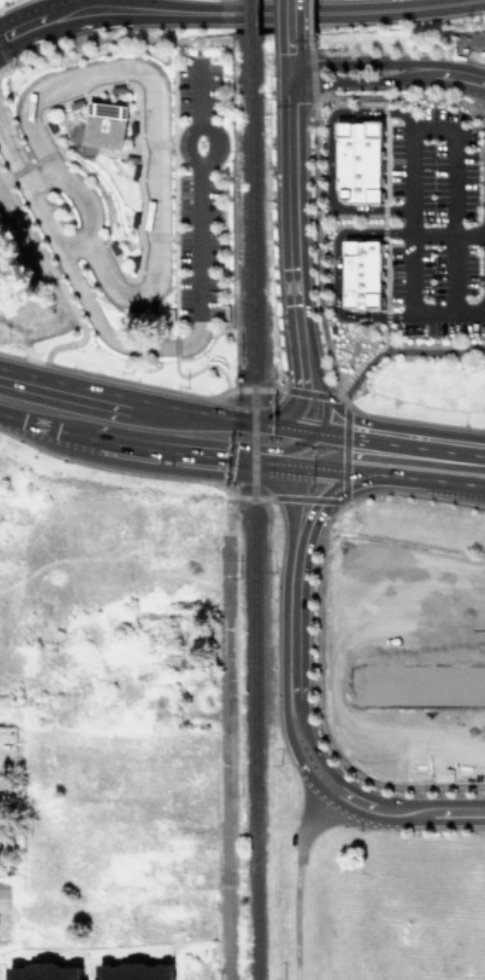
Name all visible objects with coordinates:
road: (291, 13)
railway: (250, 17)
road: (292, 17)
road: (48, 26)
road: (292, 54)
road: (359, 64)
traffic signals: (293, 73)
road: (456, 75)
road: (360, 81)
road: (200, 92)
road: (157, 120)
building: (105, 123)
road: (216, 142)
road: (456, 146)
road: (97, 148)
road: (329, 154)
road: (12, 159)
building: (359, 160)
road: (30, 162)
road: (38, 178)
parking lot: (197, 193)
road: (140, 195)
road: (86, 200)
road: (294, 207)
road: (44, 220)
parking lot: (434, 222)
road: (448, 232)
road: (199, 245)
road: (73, 249)
road: (335, 272)
building: (361, 272)
railway: (251, 273)
road: (411, 273)
road: (54, 276)
road: (173, 280)
road: (448, 314)
road: (111, 341)
road: (401, 349)
road: (301, 366)
road: (315, 368)
road: (114, 378)
road: (310, 392)
road: (289, 411)
road: (156, 412)
road: (324, 415)
road: (18, 419)
road: (399, 428)
traffic signals: (315, 433)
road: (329, 443)
road: (345, 446)
road: (143, 449)
road: (285, 451)
traffic signals: (343, 454)
road: (367, 456)
road: (297, 462)
road: (438, 465)
road: (161, 469)
road: (310, 470)
road: (330, 491)
road: (291, 524)
road: (291, 626)
road: (310, 744)
railway: (252, 746)
road: (293, 751)
road: (225, 757)
road: (403, 812)
road: (304, 820)
building: (5, 888)
building: (44, 971)
building: (134, 971)

